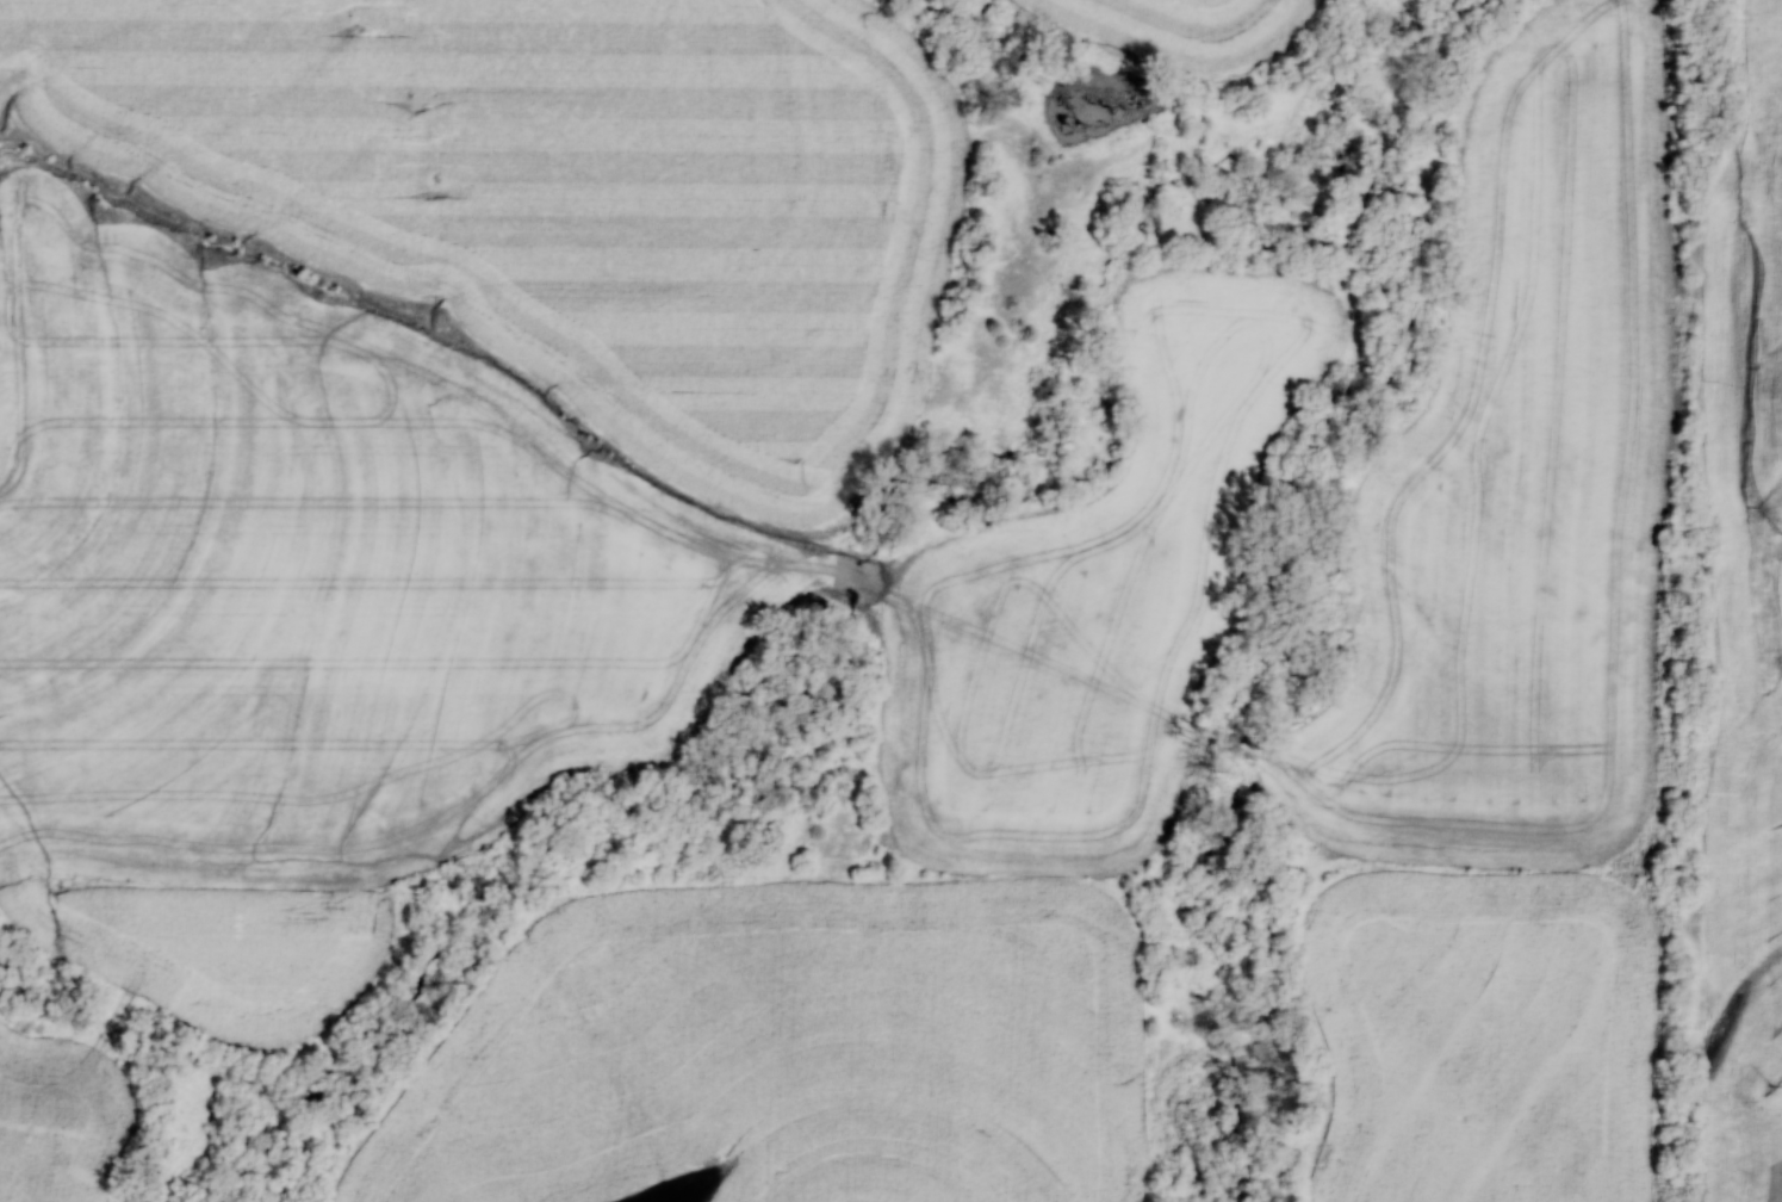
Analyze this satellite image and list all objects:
power tower: (1780, 556)
power tower: (1770, 1080)

